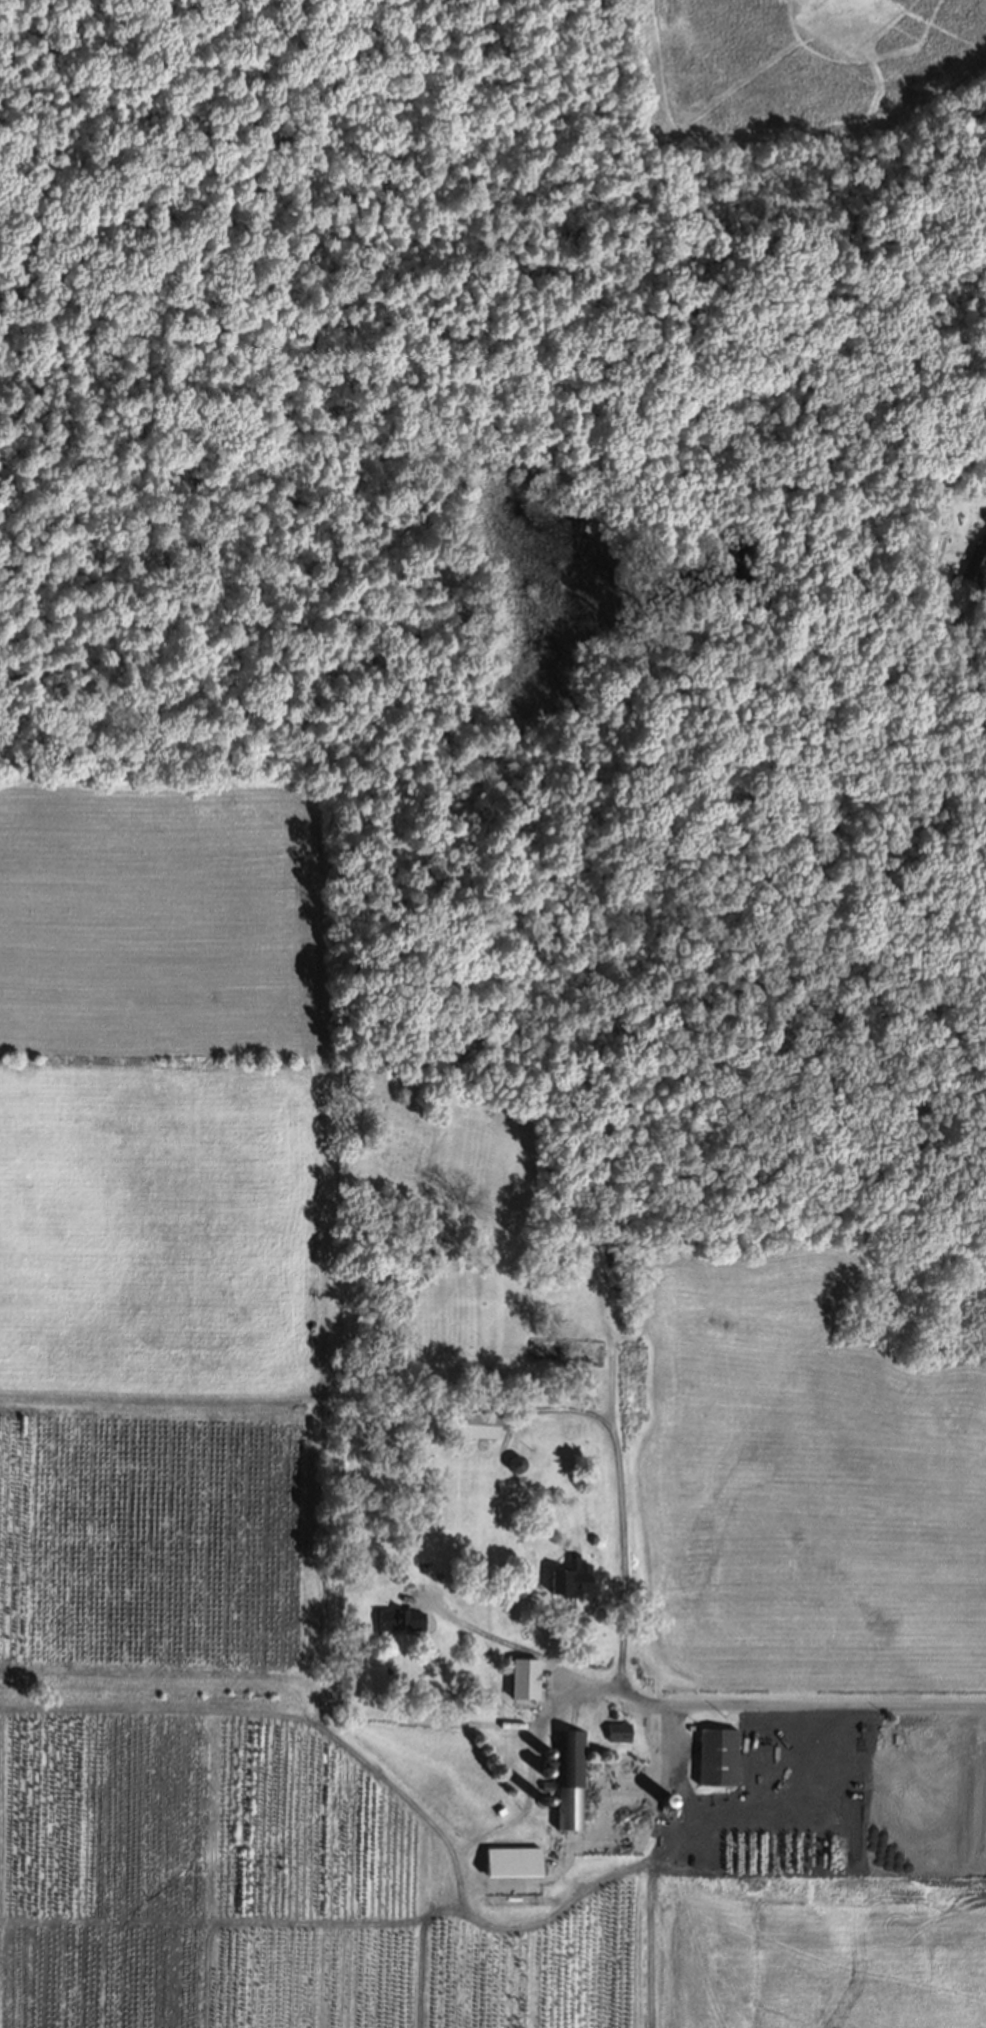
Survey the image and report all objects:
building: (974, 561)
road: (963, 655)
building: (566, 1347)
building: (471, 1421)
building: (513, 1465)
road: (626, 1502)
building: (569, 1576)
building: (396, 1616)
building: (528, 1676)
road: (720, 1705)
building: (618, 1730)
building: (545, 1748)
building: (714, 1754)
building: (544, 1768)
building: (568, 1777)
building: (540, 1794)
building: (665, 1797)
road: (657, 1855)
building: (509, 1858)

